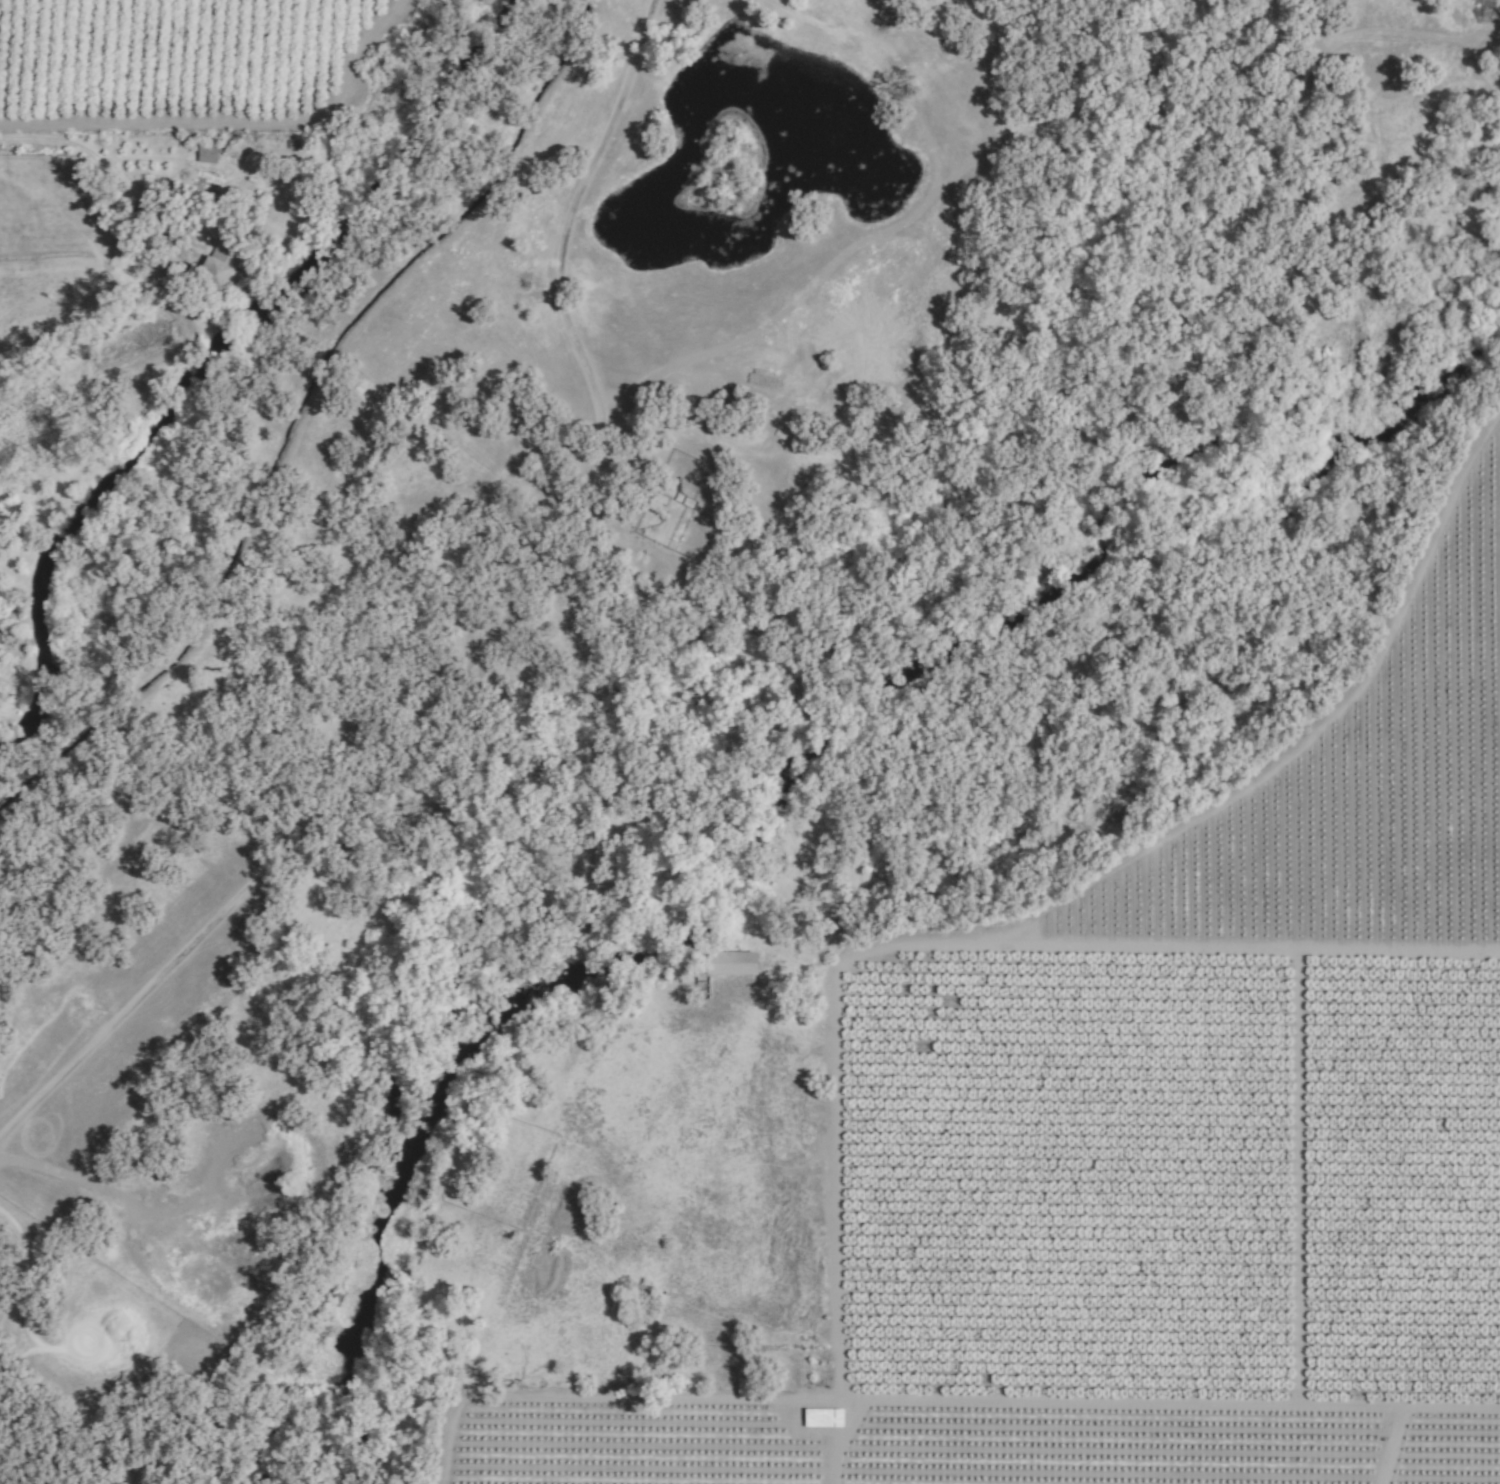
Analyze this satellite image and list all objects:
crop: (182, 59)
road: (24, 138)
building: (206, 153)
road: (157, 247)
crop: (41, 254)
road: (490, 643)
building: (730, 963)
crop: (1166, 1149)
building: (822, 1417)

